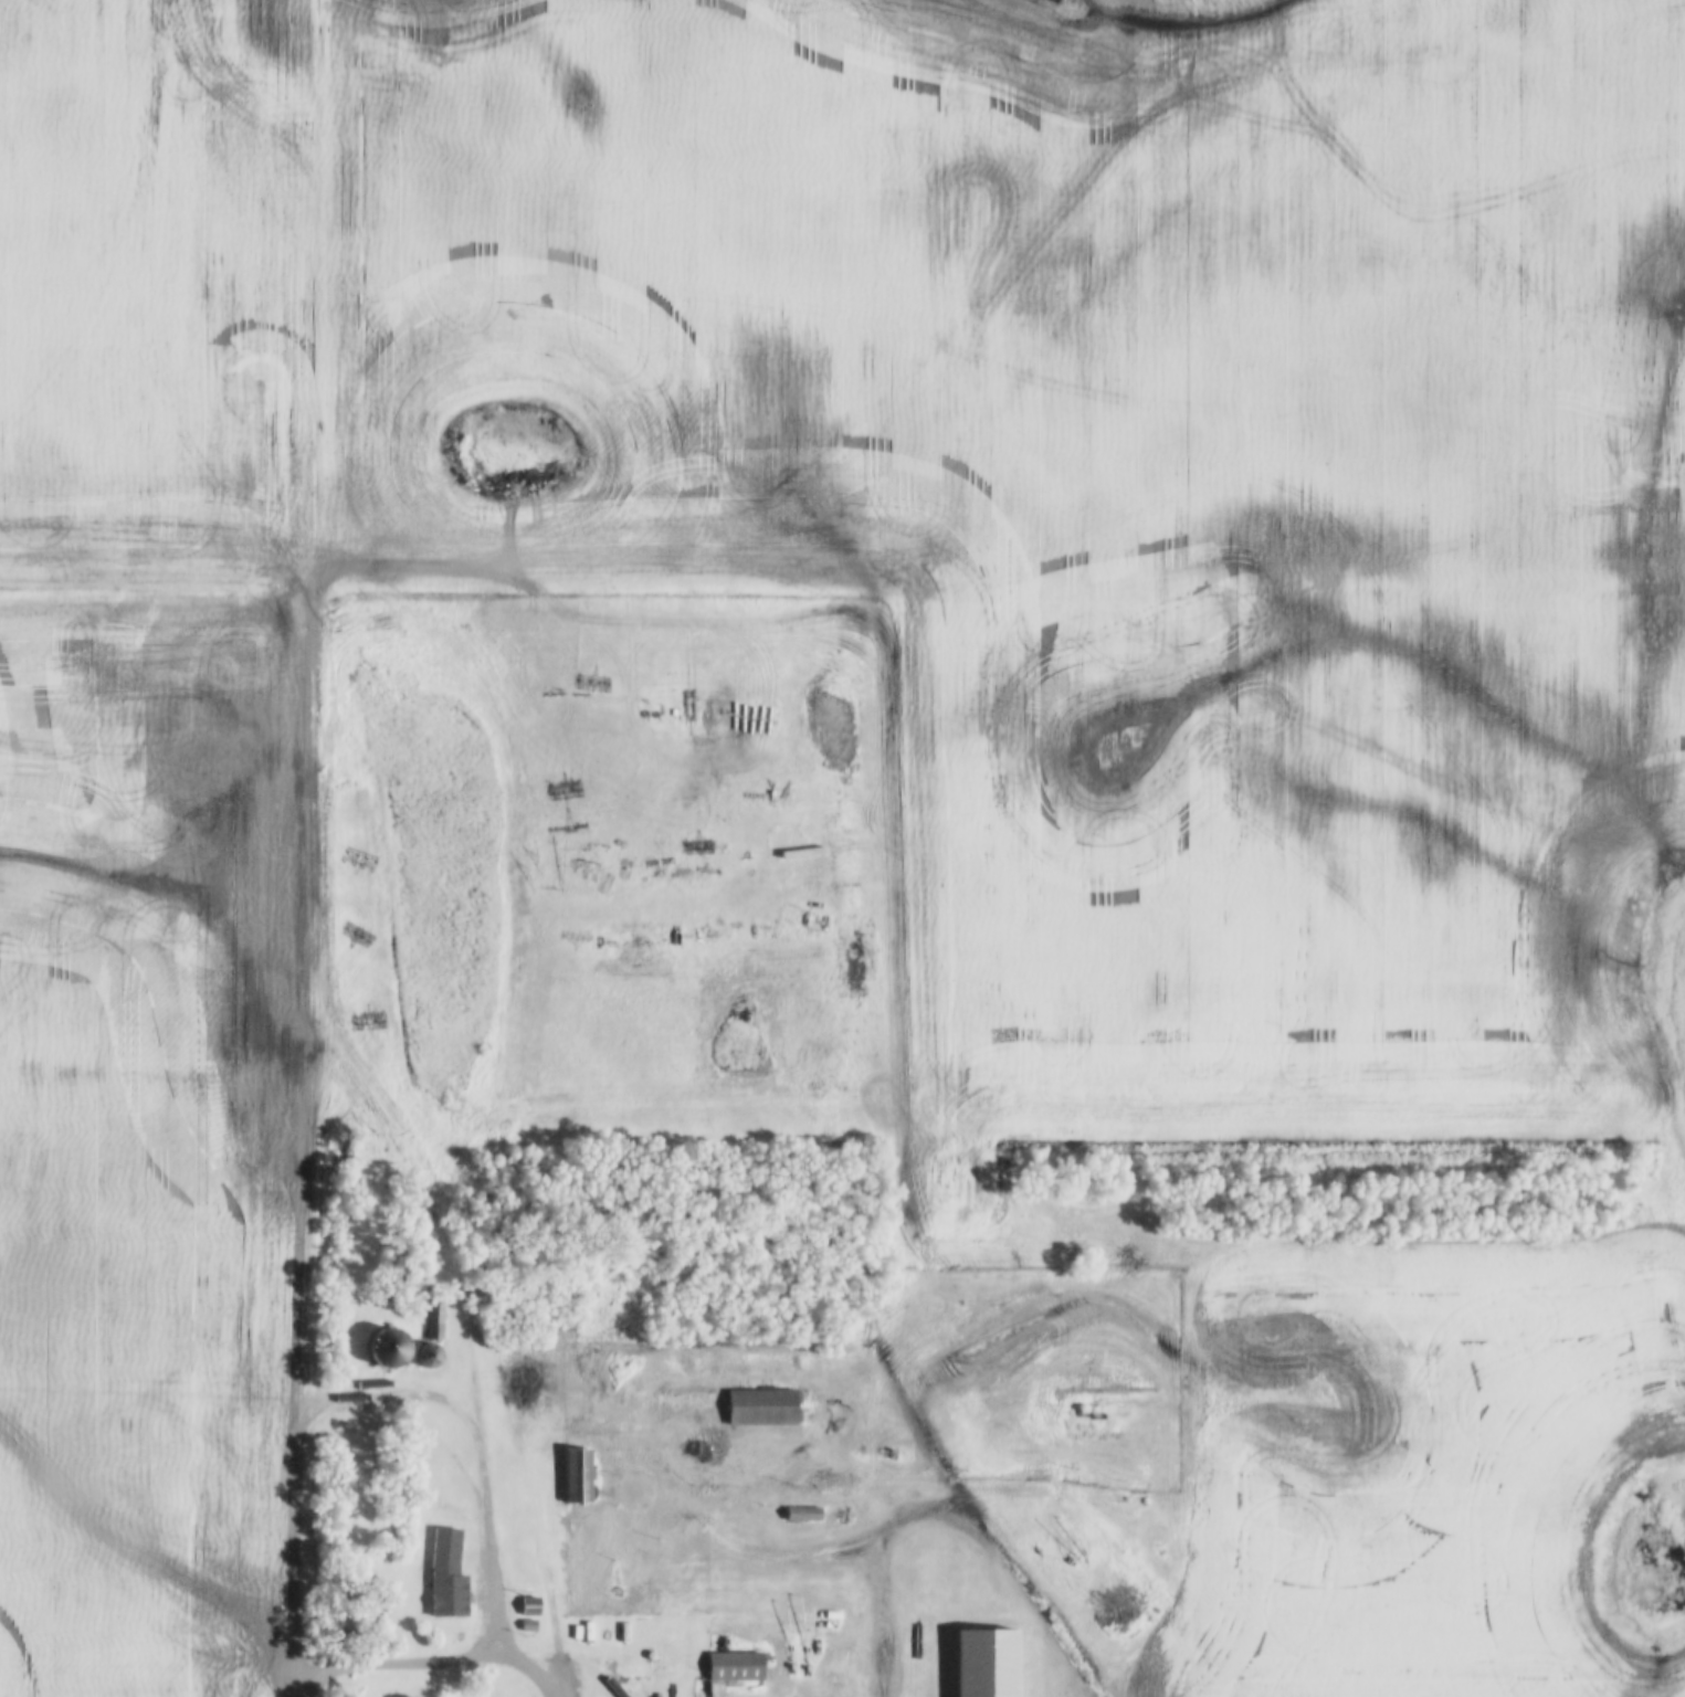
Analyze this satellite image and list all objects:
road: (323, 285)
road: (155, 571)
road: (299, 993)
building: (434, 1317)
building: (389, 1346)
building: (428, 1355)
building: (761, 1406)
building: (577, 1475)
building: (802, 1512)
road: (301, 1557)
building: (447, 1573)
building: (529, 1604)
road: (435, 1665)
building: (735, 1666)

